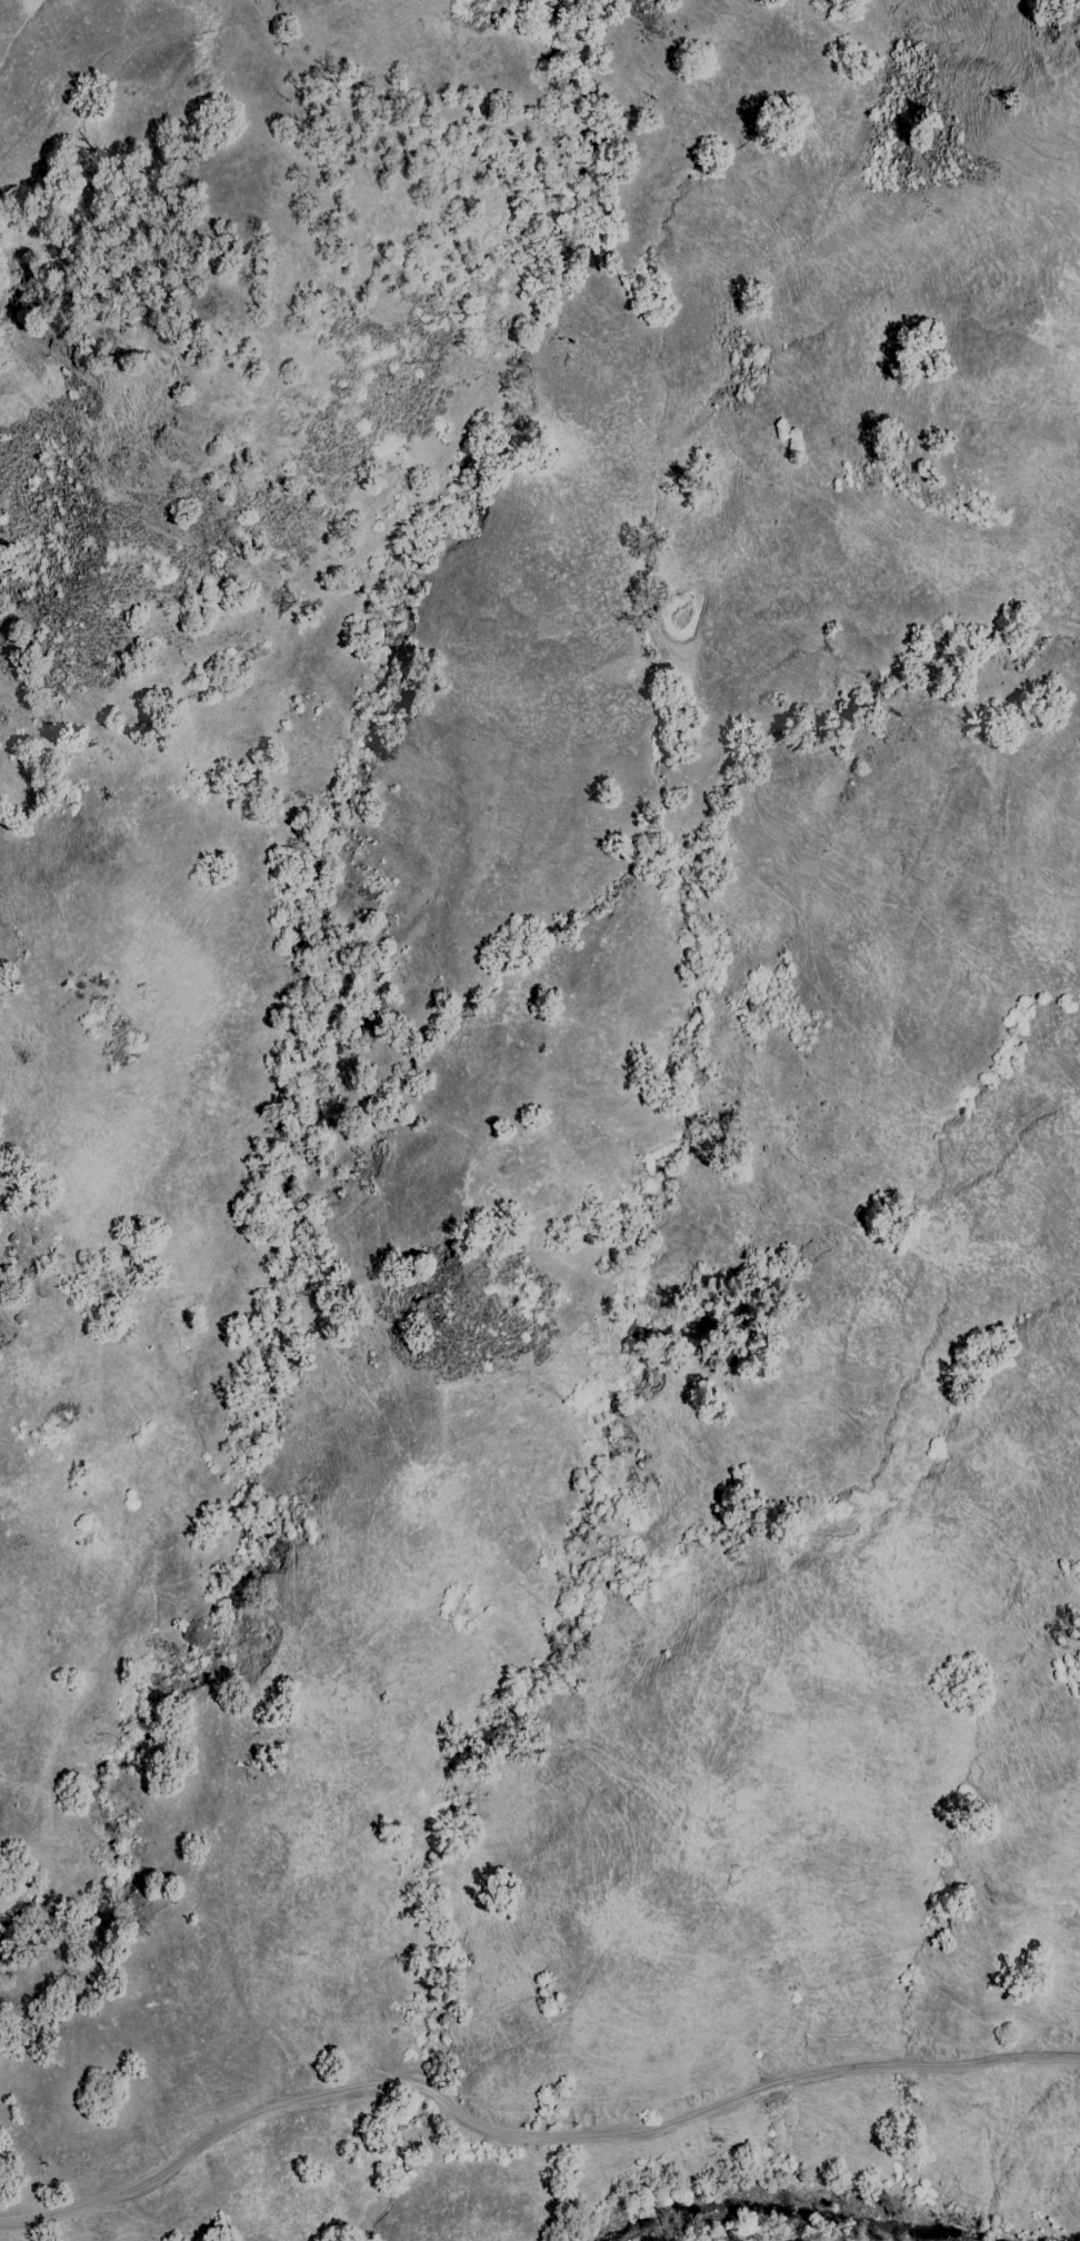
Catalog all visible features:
road: (522, 2133)
river: (783, 2231)

